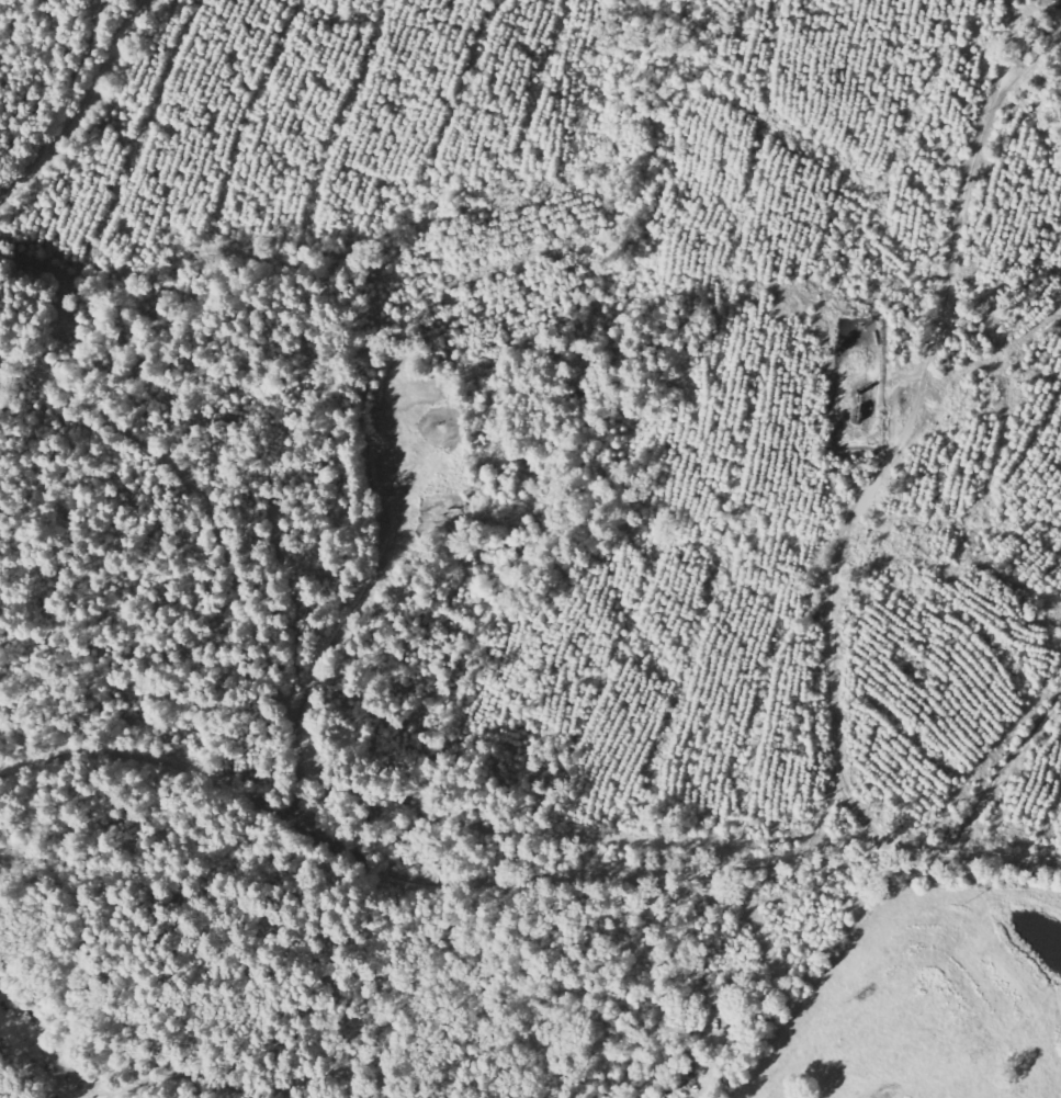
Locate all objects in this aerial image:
road: (1005, 772)
road: (516, 880)

